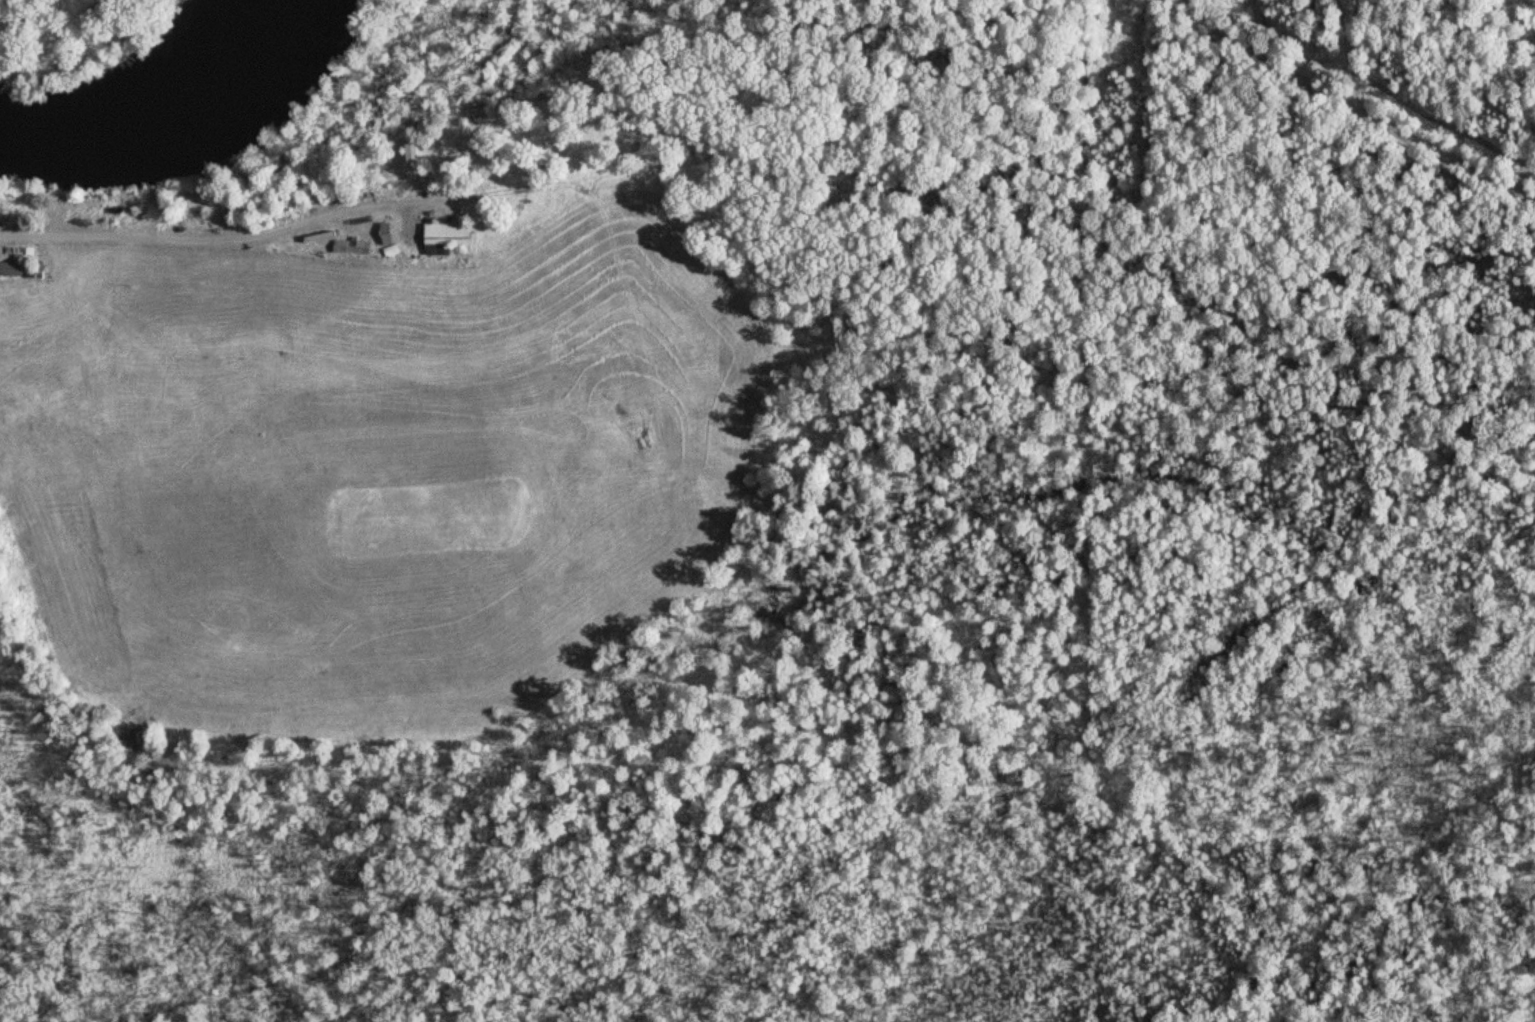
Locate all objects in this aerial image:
road: (1157, 21)
road: (1247, 42)
road: (1343, 67)
road: (1523, 73)
road: (1460, 90)
road: (1305, 112)
river: (164, 118)
building: (416, 151)
building: (450, 233)
road: (215, 235)
building: (354, 246)
building: (15, 266)

